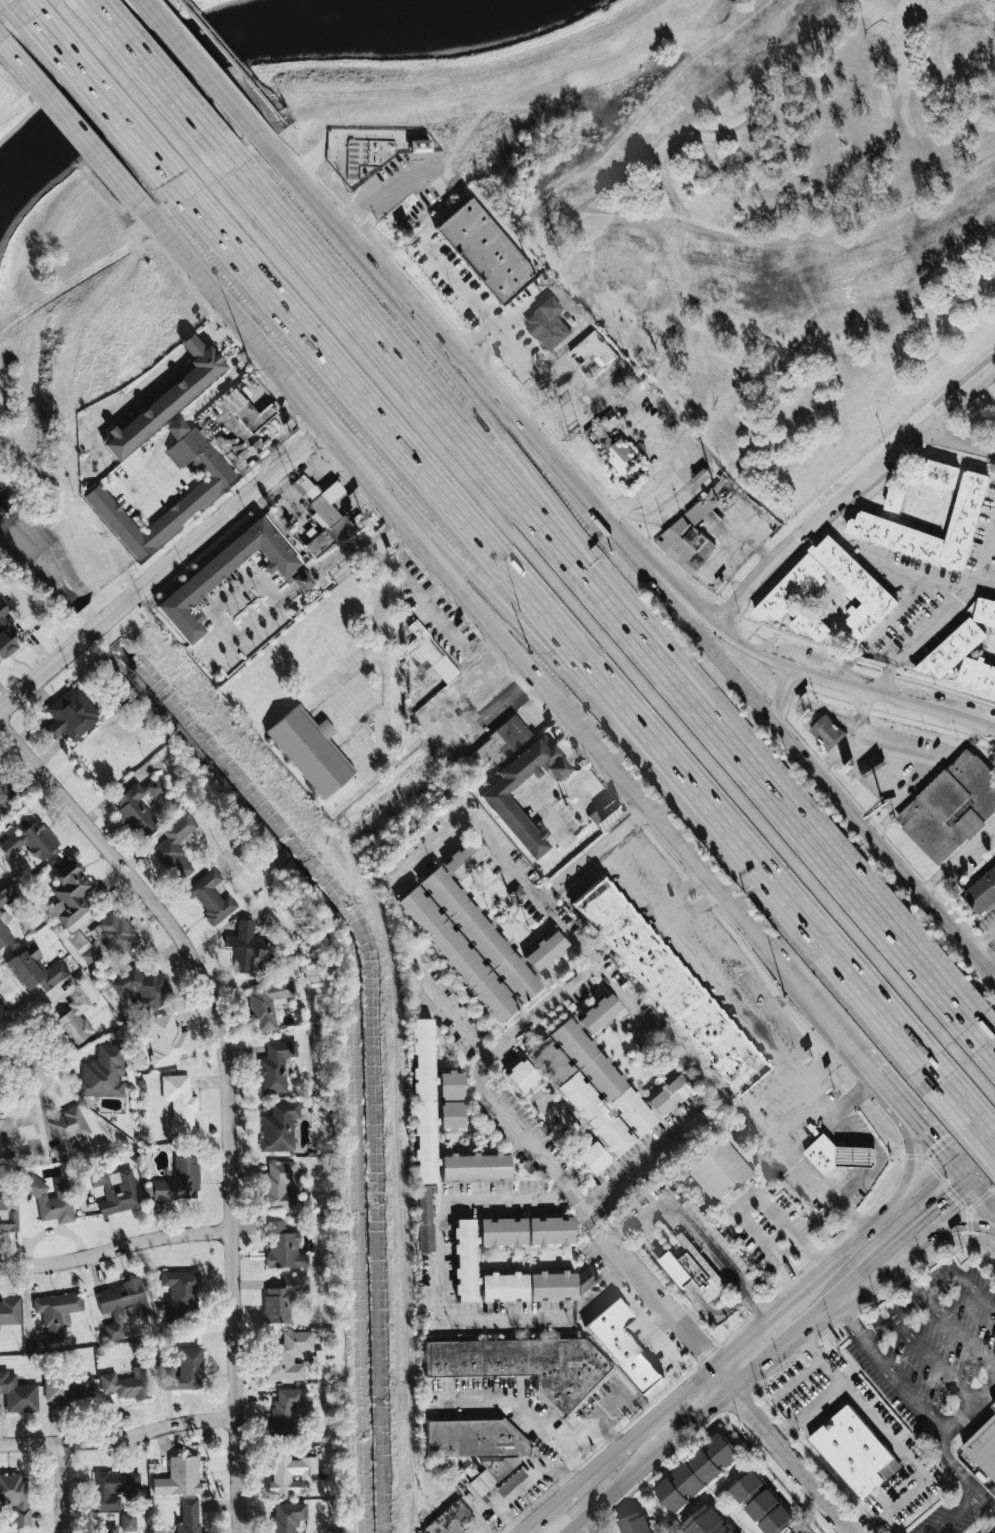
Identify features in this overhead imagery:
road: (54, 1)
road: (24, 9)
road: (2, 36)
river: (227, 46)
road: (94, 53)
road: (197, 64)
road: (151, 74)
road: (125, 83)
road: (99, 100)
road: (72, 119)
building: (420, 145)
road: (305, 186)
building: (485, 250)
road: (393, 284)
road: (471, 298)
road: (216, 320)
building: (547, 324)
road: (495, 330)
road: (226, 332)
road: (501, 338)
building: (593, 355)
building: (168, 397)
road: (132, 400)
building: (248, 410)
road: (193, 413)
building: (176, 427)
road: (527, 433)
road: (960, 439)
building: (609, 448)
building: (938, 476)
road: (659, 478)
road: (157, 485)
building: (304, 486)
building: (207, 489)
road: (851, 493)
building: (894, 500)
building: (704, 505)
building: (327, 519)
building: (964, 519)
building: (688, 545)
road: (985, 554)
river: (41, 556)
road: (465, 560)
road: (901, 567)
road: (163, 568)
building: (205, 577)
road: (301, 580)
building: (863, 587)
road: (232, 592)
road: (465, 594)
road: (600, 594)
road: (701, 610)
road: (899, 610)
building: (983, 611)
road: (575, 615)
river: (99, 626)
building: (812, 627)
road: (926, 627)
building: (7, 633)
road: (548, 634)
road: (670, 642)
building: (953, 650)
building: (427, 654)
road: (381, 656)
building: (977, 675)
road: (348, 681)
road: (778, 694)
road: (891, 698)
road: (487, 709)
building: (71, 714)
road: (359, 717)
building: (827, 733)
road: (338, 736)
road: (850, 736)
building: (499, 745)
building: (311, 751)
road: (808, 760)
road: (922, 765)
road: (536, 785)
road: (570, 789)
building: (6, 792)
building: (138, 806)
building: (951, 807)
building: (509, 814)
building: (176, 847)
road: (601, 849)
road: (626, 855)
road: (958, 855)
building: (465, 857)
road: (522, 876)
road: (679, 890)
building: (516, 892)
road: (547, 892)
building: (981, 893)
building: (70, 895)
building: (211, 897)
road: (696, 908)
building: (2, 913)
building: (115, 934)
road: (982, 937)
building: (244, 946)
building: (476, 946)
building: (83, 947)
road: (729, 956)
building: (35, 969)
road: (709, 971)
building: (669, 986)
building: (144, 988)
building: (268, 1002)
building: (599, 1013)
road: (455, 1015)
road: (826, 1020)
building: (75, 1021)
road: (16, 1034)
building: (167, 1040)
river: (366, 1043)
road: (990, 1046)
building: (275, 1066)
building: (104, 1072)
road: (806, 1077)
road: (876, 1079)
road: (979, 1079)
road: (36, 1084)
road: (482, 1085)
building: (585, 1086)
road: (228, 1089)
building: (669, 1095)
building: (179, 1101)
building: (424, 1101)
building: (451, 1101)
road: (830, 1115)
road: (966, 1117)
road: (841, 1124)
building: (280, 1127)
road: (961, 1129)
building: (67, 1131)
road: (852, 1134)
road: (923, 1134)
traffic signals: (930, 1143)
road: (972, 1146)
traffic signals: (973, 1146)
building: (823, 1153)
road: (645, 1156)
building: (593, 1157)
road: (846, 1157)
building: (856, 1157)
gas station: (856, 1157)
road: (858, 1157)
road: (907, 1162)
building: (475, 1167)
building: (719, 1170)
road: (980, 1172)
road: (957, 1176)
road: (852, 1179)
building: (178, 1180)
building: (279, 1185)
road: (842, 1188)
building: (116, 1190)
road: (829, 1195)
road: (744, 1198)
traffic signals: (950, 1199)
building: (52, 1201)
road: (910, 1201)
road: (980, 1201)
road: (938, 1209)
building: (8, 1215)
building: (424, 1219)
road: (952, 1225)
building: (527, 1231)
road: (899, 1244)
building: (283, 1247)
road: (115, 1248)
road: (787, 1249)
road: (444, 1258)
road: (815, 1259)
building: (466, 1260)
building: (693, 1272)
road: (828, 1272)
road: (903, 1274)
road: (792, 1278)
road: (859, 1278)
building: (536, 1285)
road: (606, 1292)
building: (180, 1293)
road: (654, 1293)
road: (975, 1296)
building: (282, 1300)
building: (122, 1305)
road: (911, 1309)
building: (9, 1311)
building: (57, 1311)
road: (817, 1314)
road: (849, 1322)
road: (957, 1329)
road: (750, 1337)
building: (623, 1346)
parking lot: (933, 1346)
building: (288, 1356)
road: (766, 1356)
road: (935, 1364)
building: (526, 1366)
building: (181, 1369)
road: (703, 1374)
building: (127, 1384)
building: (67, 1387)
road: (831, 1387)
road: (907, 1387)
building: (18, 1394)
road: (521, 1406)
building: (285, 1410)
road: (693, 1417)
road: (592, 1421)
road: (607, 1433)
road: (117, 1437)
building: (478, 1445)
building: (982, 1445)
road: (783, 1449)
road: (941, 1449)
building: (853, 1451)
road: (607, 1459)
road: (909, 1459)
building: (290, 1473)
building: (697, 1473)
building: (179, 1477)
building: (510, 1482)
road: (60, 1487)
building: (746, 1487)
building: (113, 1488)
road: (520, 1489)
road: (610, 1491)
building: (16, 1497)
building: (769, 1513)
building: (189, 1516)
building: (287, 1517)
building: (450, 1519)
building: (128, 1522)
building: (705, 1523)
building: (634, 1524)
road: (585, 1525)
building: (111, 1529)
road: (482, 1530)

